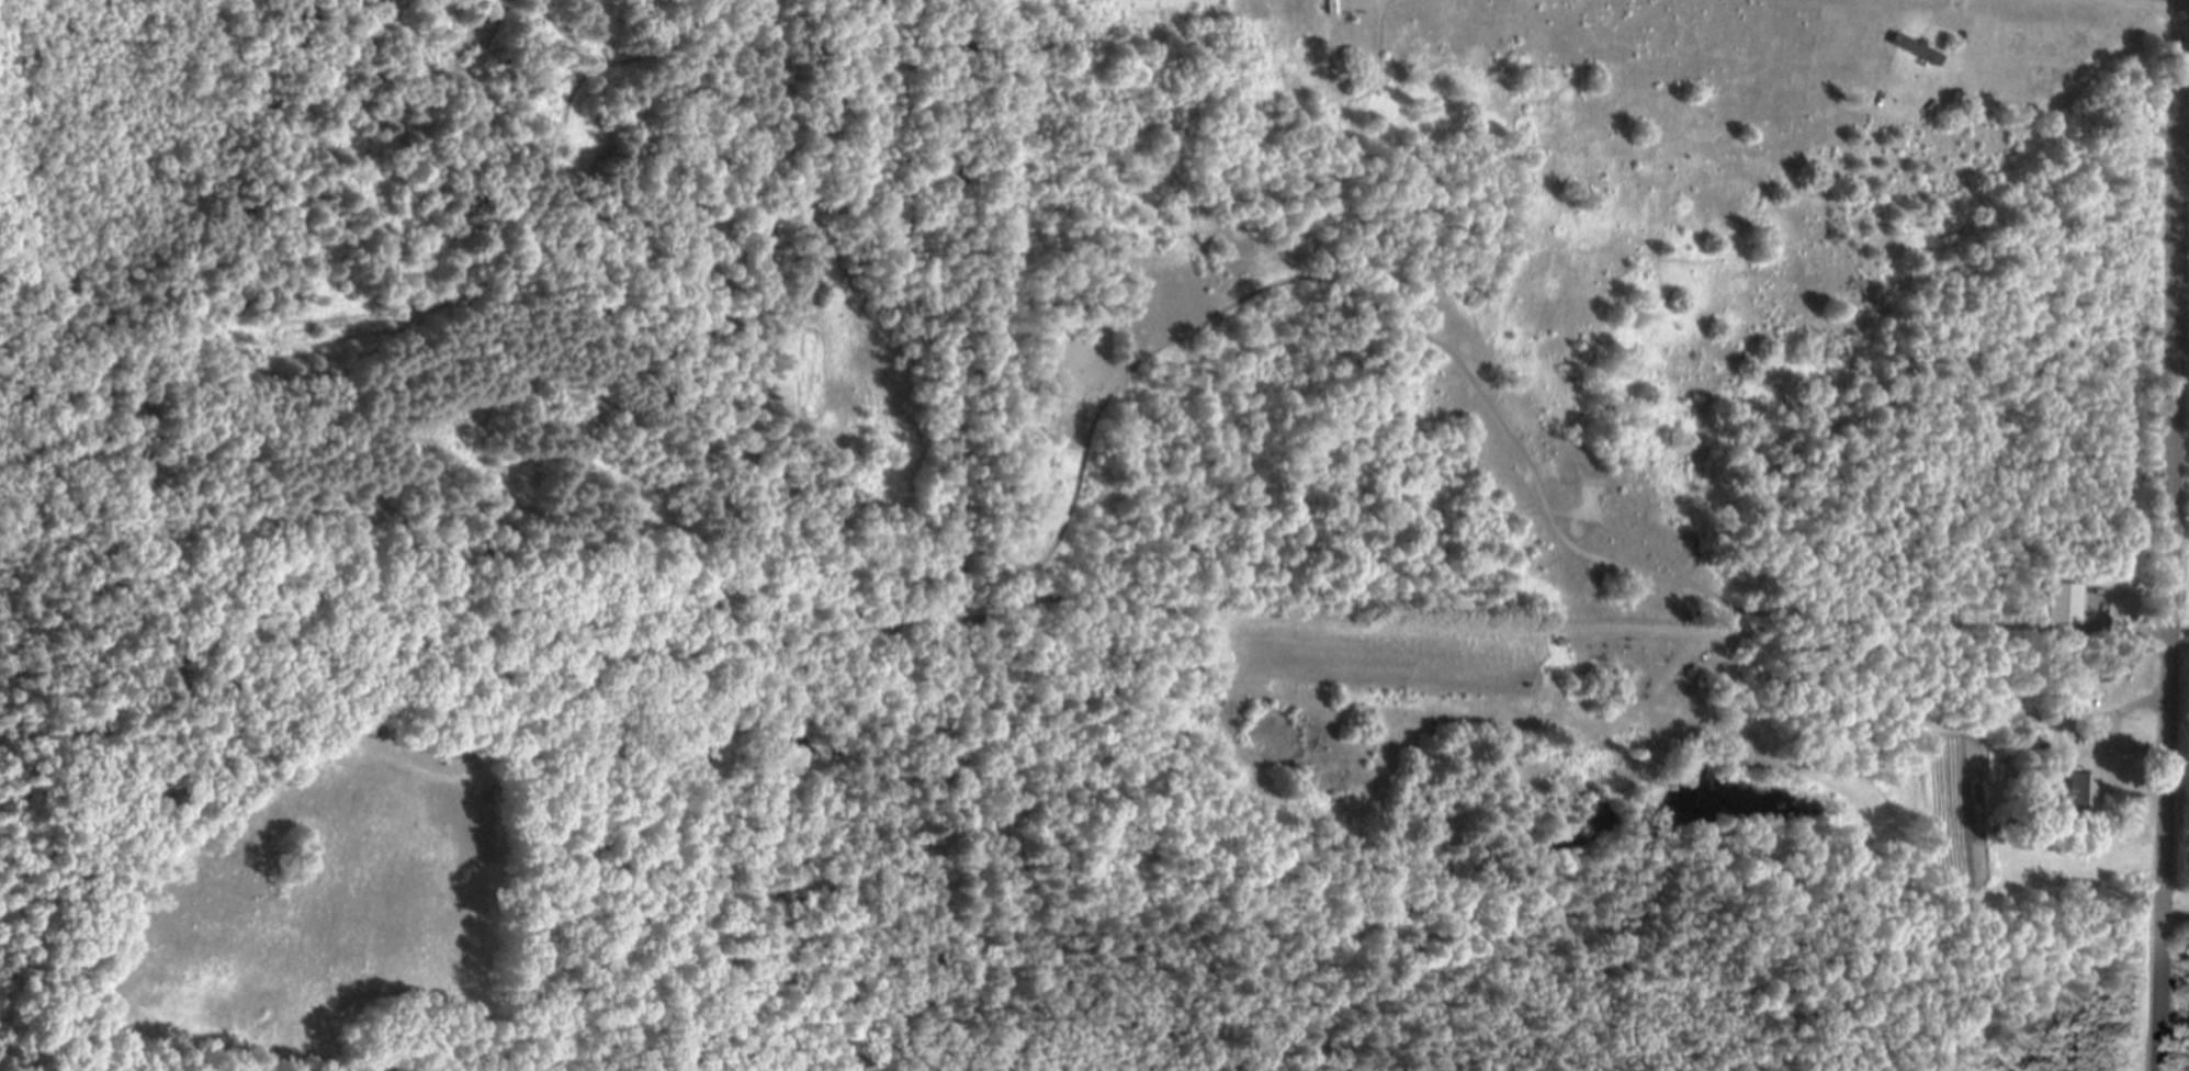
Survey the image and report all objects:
road: (2139, 5)
building: (1914, 48)
road: (2170, 534)
building: (2063, 604)
road: (1580, 627)
road: (2141, 703)
building: (2077, 793)
road: (2176, 917)

